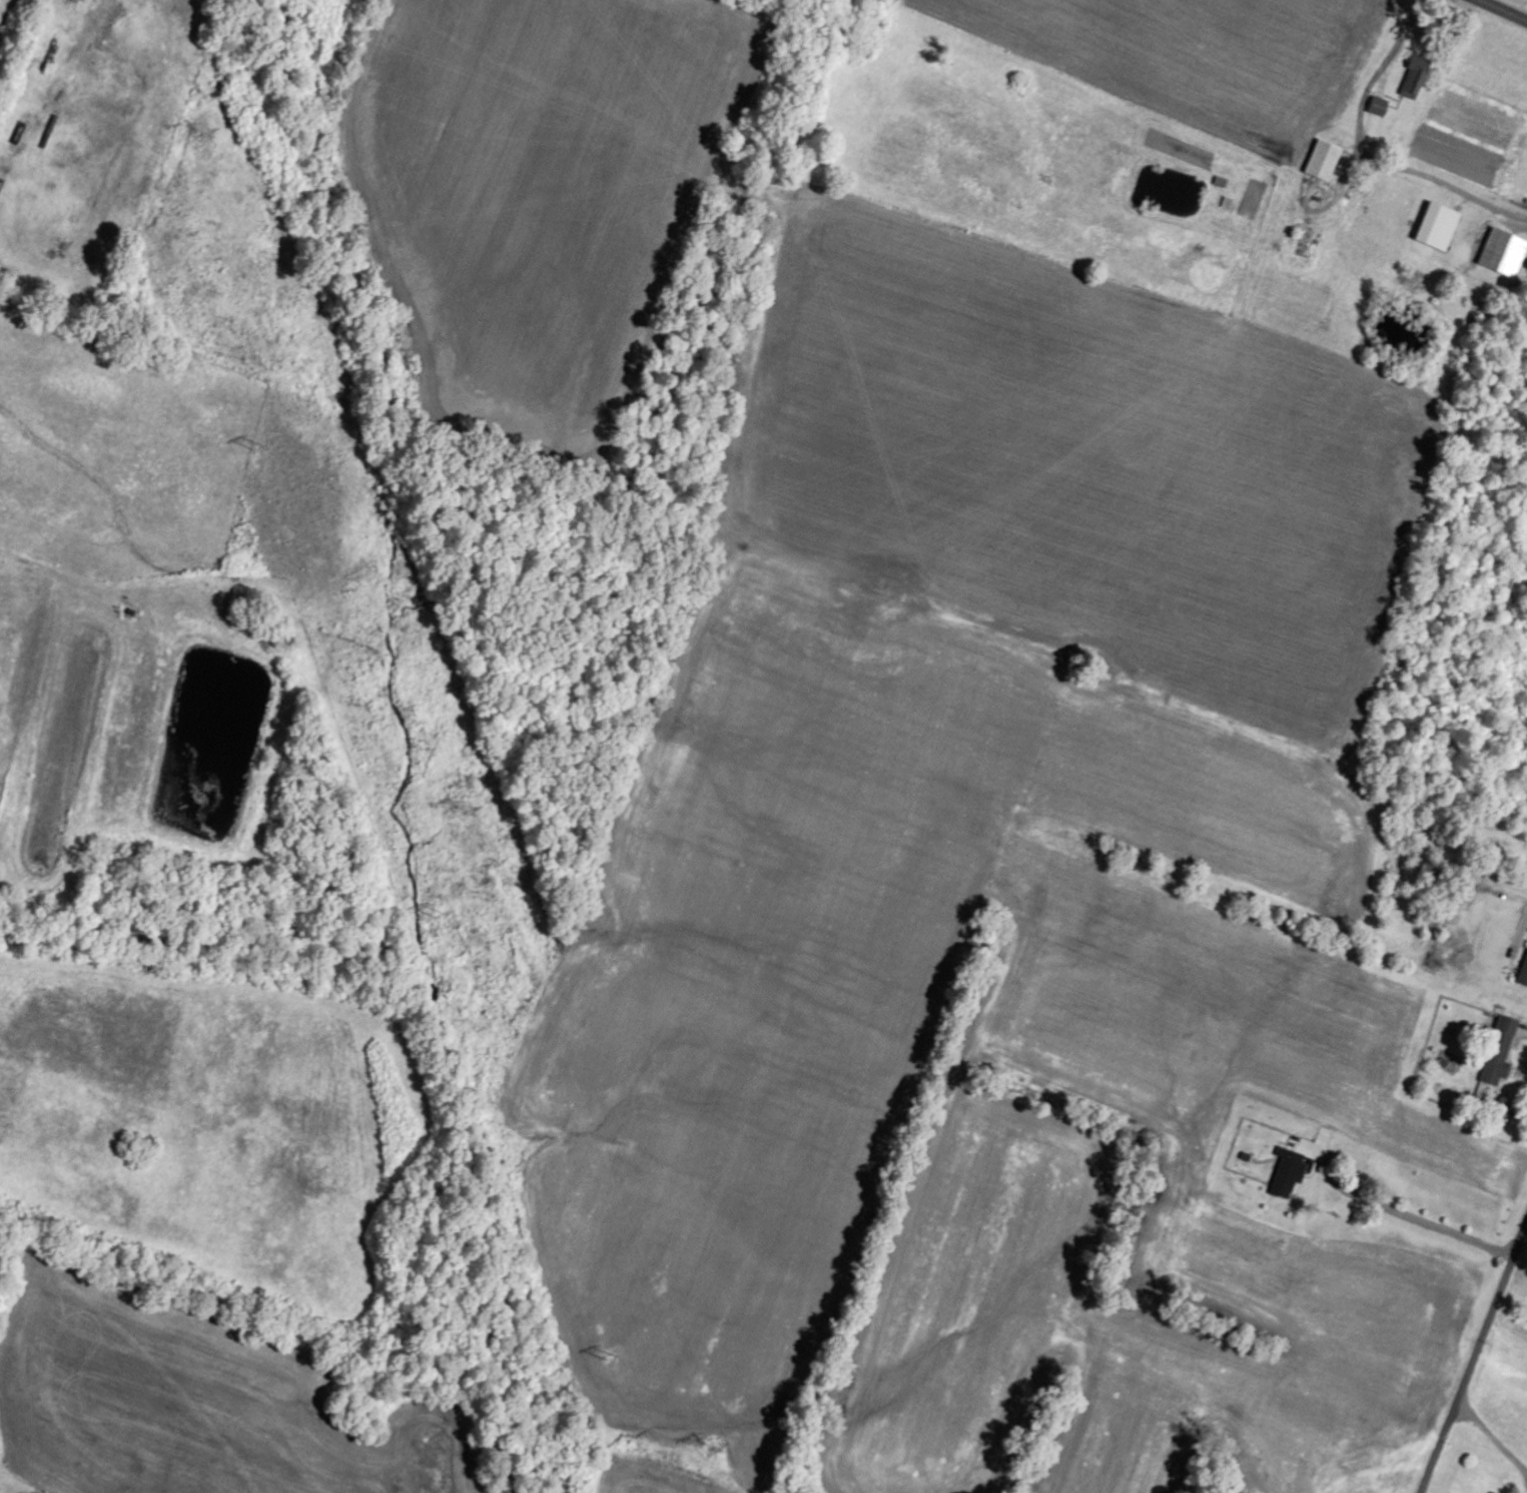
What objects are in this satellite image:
road: (1509, 7)
building: (1416, 76)
building: (1379, 106)
power tower: (211, 140)
building: (1323, 160)
building: (1438, 226)
building: (1302, 248)
building: (1503, 252)
power tower: (468, 810)
building: (1523, 975)
building: (1501, 1052)
road: (1474, 1350)
power tower: (714, 1448)

